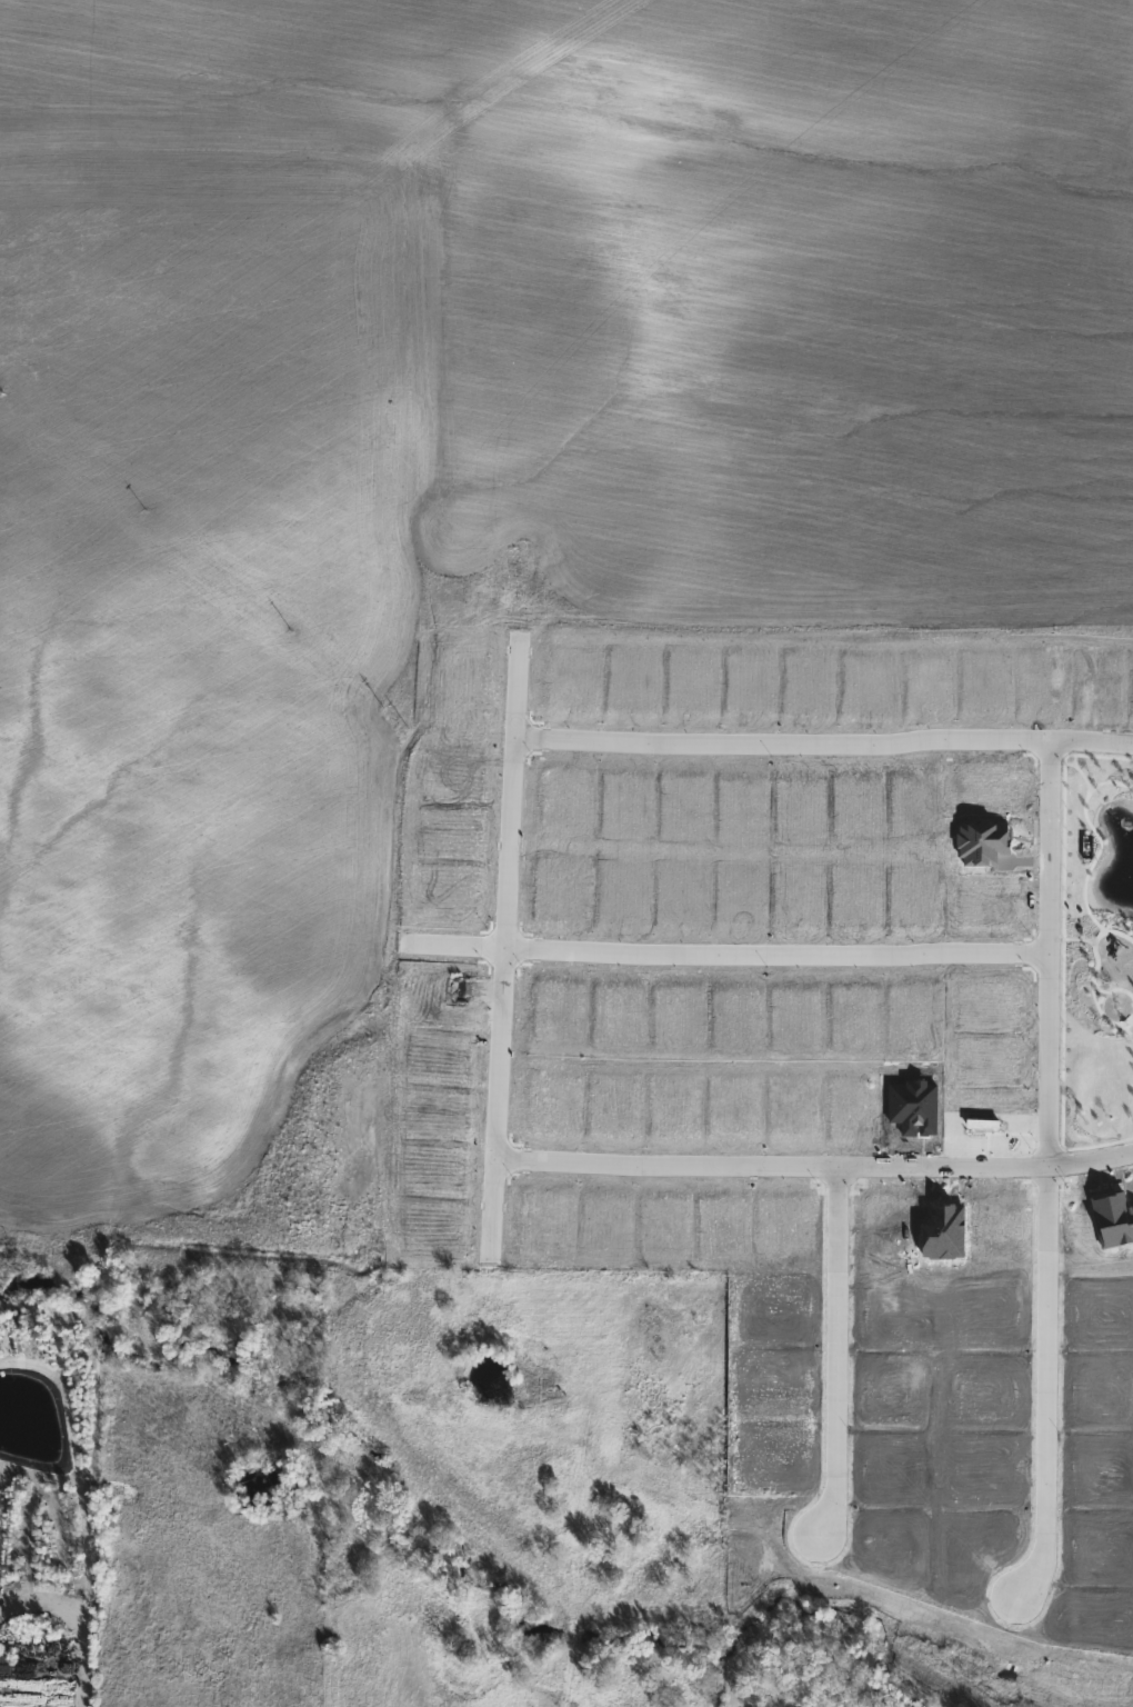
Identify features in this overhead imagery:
crop: (473, 467)
road: (824, 746)
road: (1076, 766)
road: (1112, 783)
road: (1066, 816)
road: (1096, 861)
road: (1100, 939)
road: (505, 951)
road: (728, 957)
road: (1094, 985)
road: (1113, 991)
road: (1125, 1022)
road: (1064, 1079)
road: (815, 1167)
road: (1050, 1174)
road: (838, 1352)

